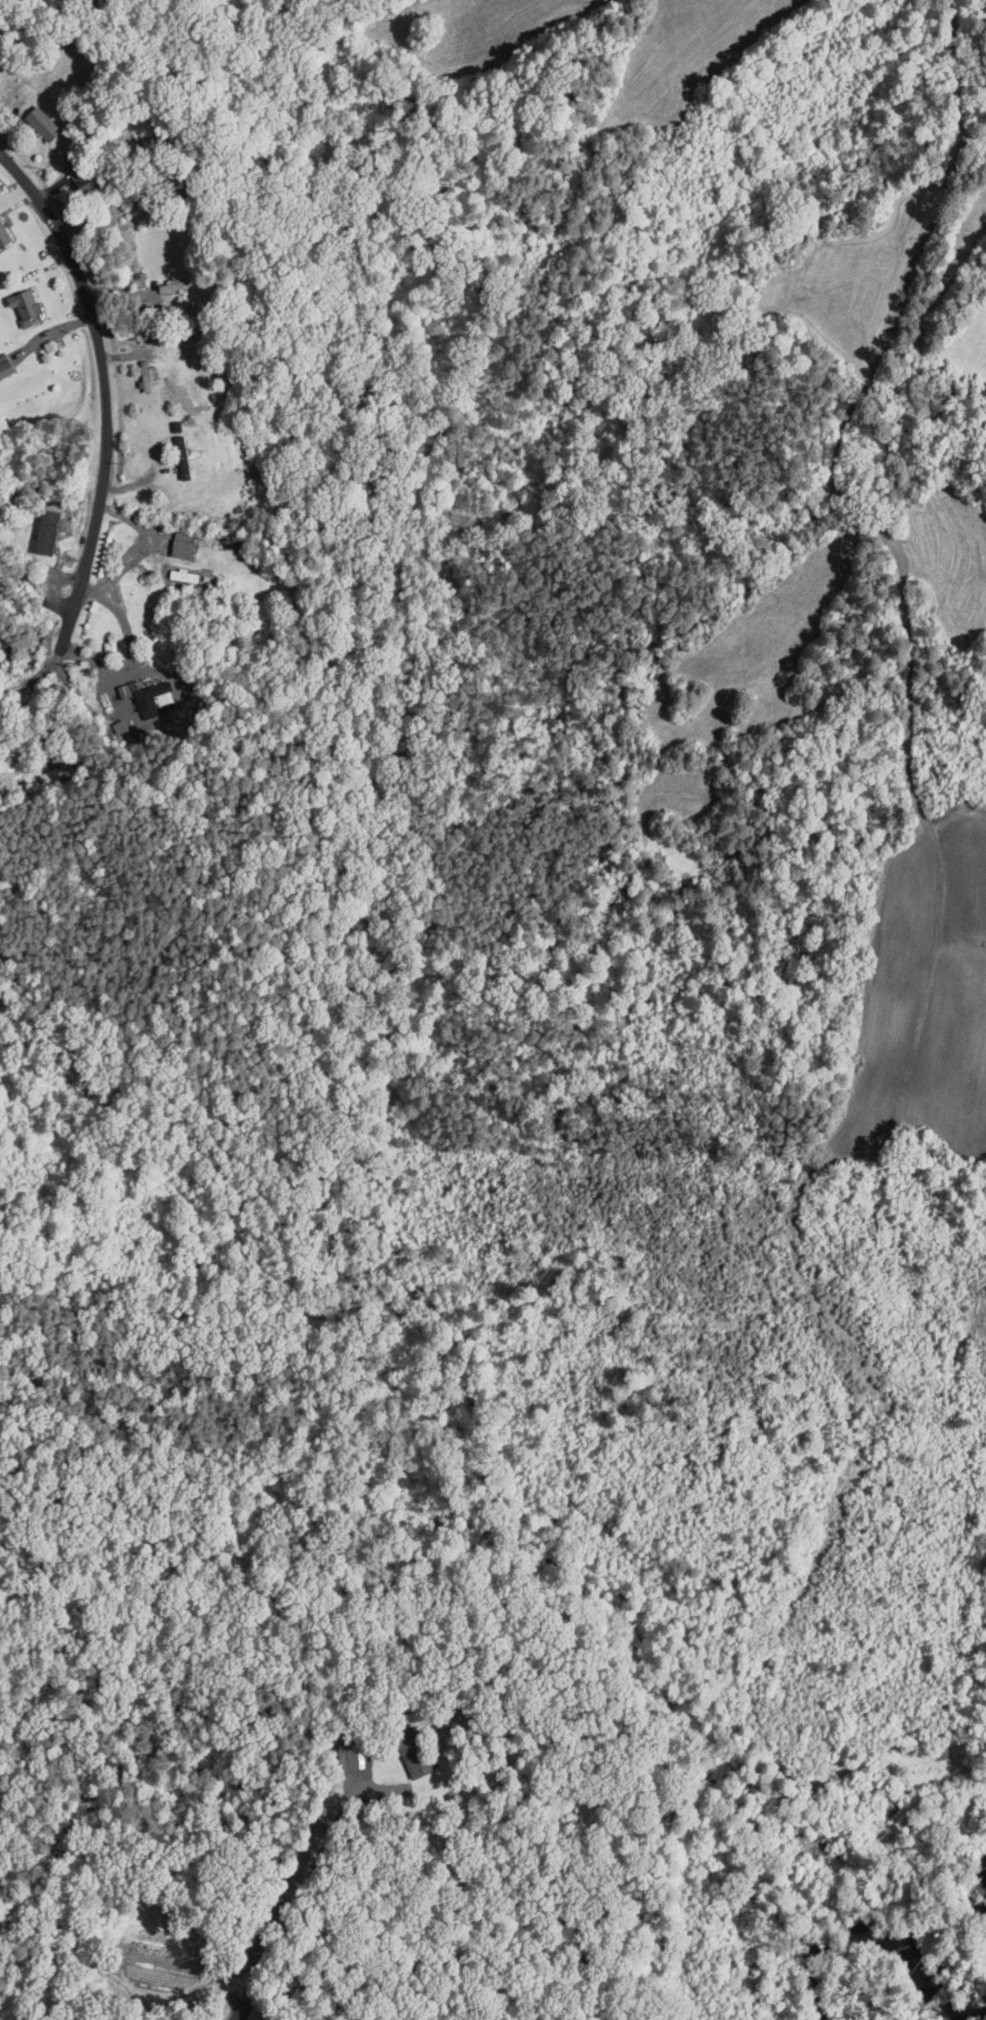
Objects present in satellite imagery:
building: (43, 122)
building: (4, 234)
building: (174, 285)
building: (25, 305)
building: (5, 367)
road: (107, 386)
building: (49, 531)
building: (184, 544)
building: (156, 700)
building: (350, 1754)
road: (298, 1899)

